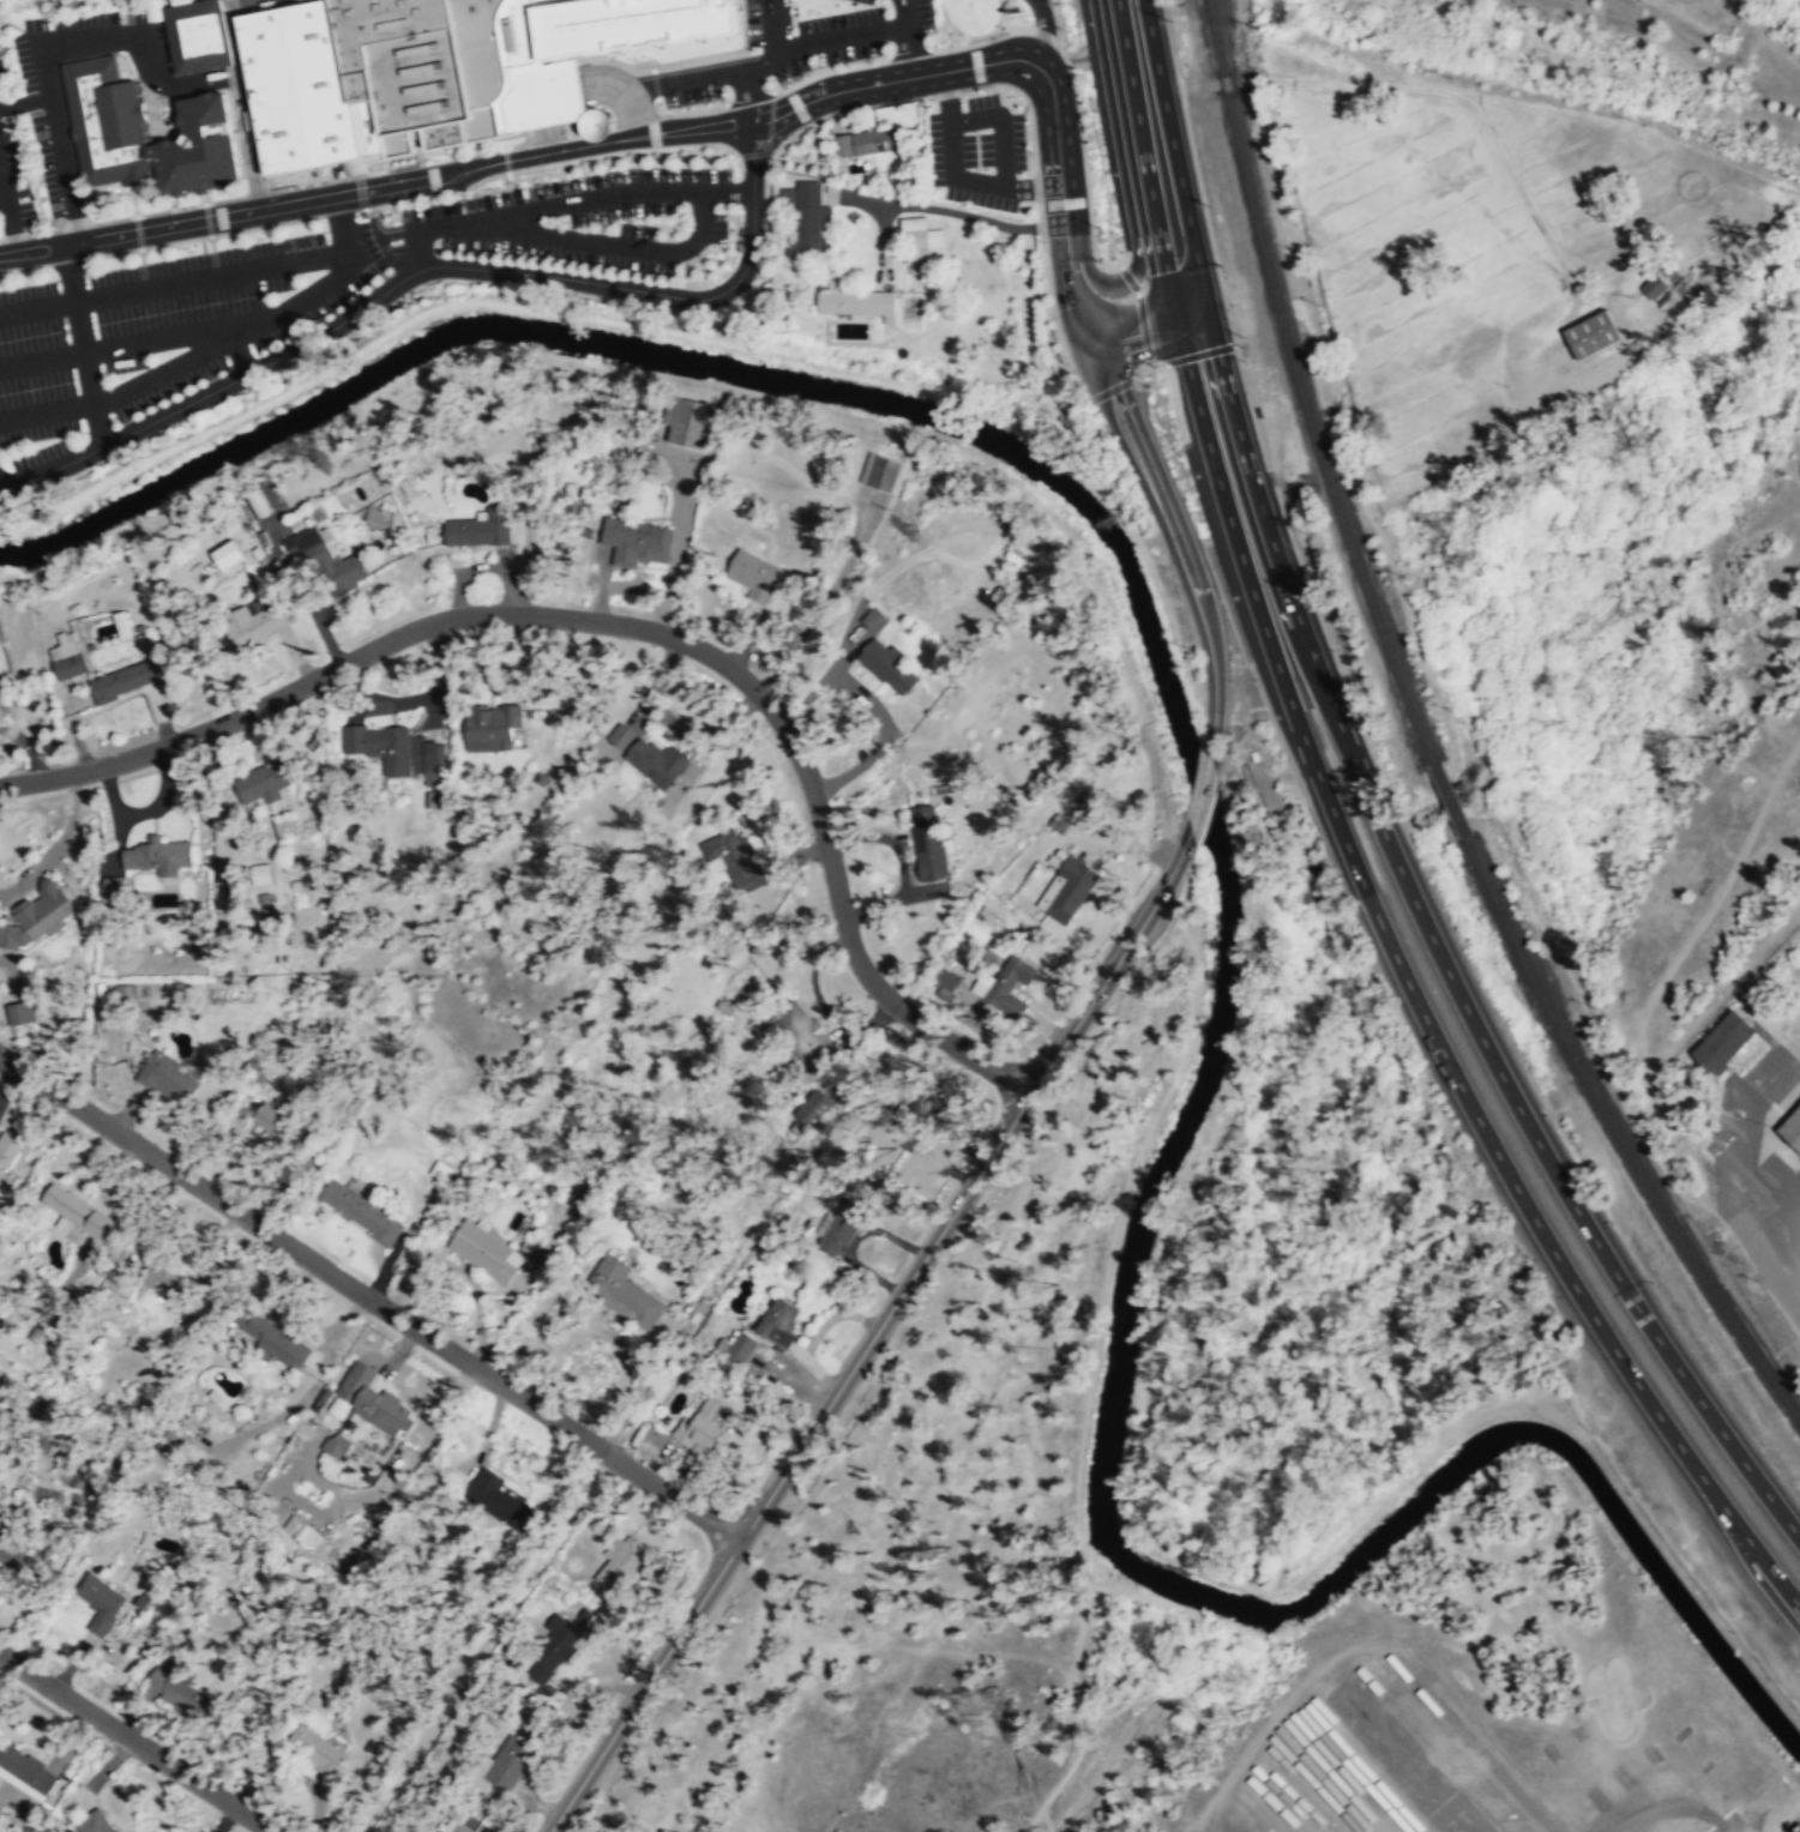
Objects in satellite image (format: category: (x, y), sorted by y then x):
road: (119, 5)
building: (626, 23)
road: (771, 25)
road: (1045, 31)
building: (198, 36)
road: (907, 38)
road: (49, 41)
road: (909, 53)
road: (723, 55)
road: (745, 68)
building: (449, 72)
road: (799, 80)
road: (560, 83)
road: (993, 83)
building: (296, 86)
parking lot: (43, 100)
road: (1076, 103)
road: (239, 107)
road: (684, 112)
road: (1003, 122)
building: (603, 125)
road: (662, 132)
building: (145, 133)
building: (868, 144)
parking lot: (979, 151)
parking lot: (12, 165)
road: (953, 176)
road: (2, 188)
road: (2, 203)
road: (565, 203)
road: (943, 210)
parking lot: (579, 218)
building: (808, 218)
road: (339, 225)
road: (11, 228)
road: (879, 241)
road: (604, 243)
building: (921, 245)
road: (1137, 248)
road: (451, 266)
road: (170, 282)
building: (1655, 288)
road: (760, 291)
building: (857, 303)
parking lot: (162, 330)
building: (1589, 331)
road: (128, 343)
road: (84, 344)
road: (187, 360)
railway: (1301, 387)
building: (691, 424)
building: (886, 475)
road: (1149, 483)
building: (258, 502)
building: (379, 516)
building: (477, 530)
building: (637, 542)
building: (230, 553)
building: (327, 562)
building: (755, 575)
building: (874, 621)
building: (124, 623)
road: (1301, 623)
building: (251, 625)
road: (624, 627)
road: (1269, 635)
building: (17, 640)
building: (67, 656)
building: (890, 667)
building: (124, 681)
road: (1202, 724)
building: (489, 730)
building: (620, 737)
building: (407, 753)
building: (650, 763)
building: (267, 783)
road: (1200, 789)
railway: (1450, 797)
building: (925, 843)
building: (158, 857)
building: (736, 860)
building: (115, 886)
building: (1068, 890)
building: (42, 915)
road: (1112, 970)
building: (1021, 972)
building: (945, 981)
building: (22, 1012)
building: (812, 1036)
building: (1717, 1042)
building: (794, 1047)
building: (165, 1074)
building: (922, 1117)
building: (275, 1121)
railway: (1615, 1127)
building: (1790, 1127)
building: (7, 1150)
building: (740, 1153)
railway: (1762, 1200)
building: (79, 1211)
building: (361, 1213)
building: (841, 1229)
building: (481, 1248)
building: (168, 1283)
building: (627, 1291)
road: (371, 1297)
building: (72, 1301)
building: (781, 1321)
building: (273, 1340)
building: (742, 1349)
road: (1684, 1370)
building: (216, 1397)
building: (374, 1402)
road: (1667, 1415)
building: (704, 1426)
building: (337, 1444)
road: (785, 1469)
building: (499, 1500)
building: (14, 1555)
building: (621, 1565)
building: (100, 1599)
building: (556, 1649)
building: (176, 1691)
airport: (1489, 1694)
road: (134, 1743)
building: (317, 1749)
building: (5, 1759)
building: (508, 1761)
airport runway: (1455, 1819)
building: (97, 1824)
road: (1793, 1825)
building: (453, 1826)

